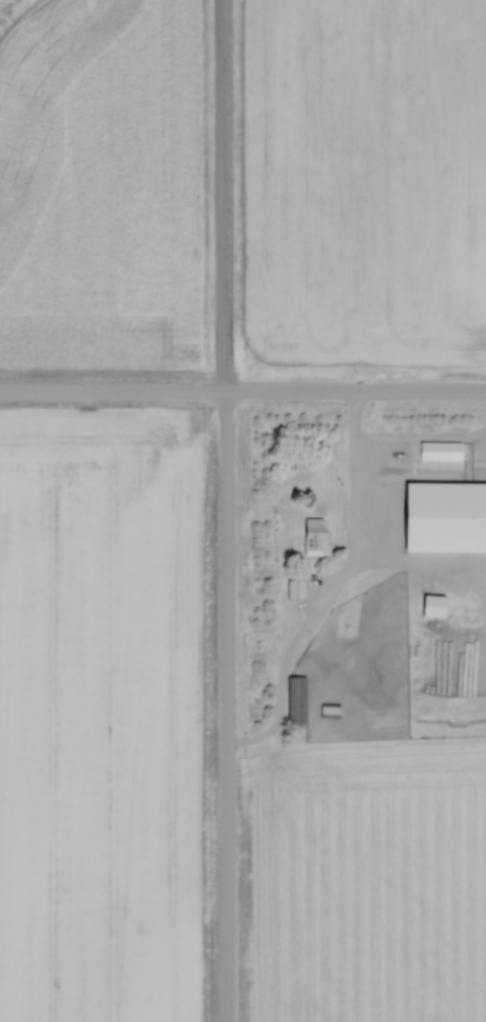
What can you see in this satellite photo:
road: (243, 392)
building: (442, 450)
building: (395, 452)
road: (223, 511)
building: (316, 532)
road: (350, 545)
building: (297, 588)
building: (298, 699)

